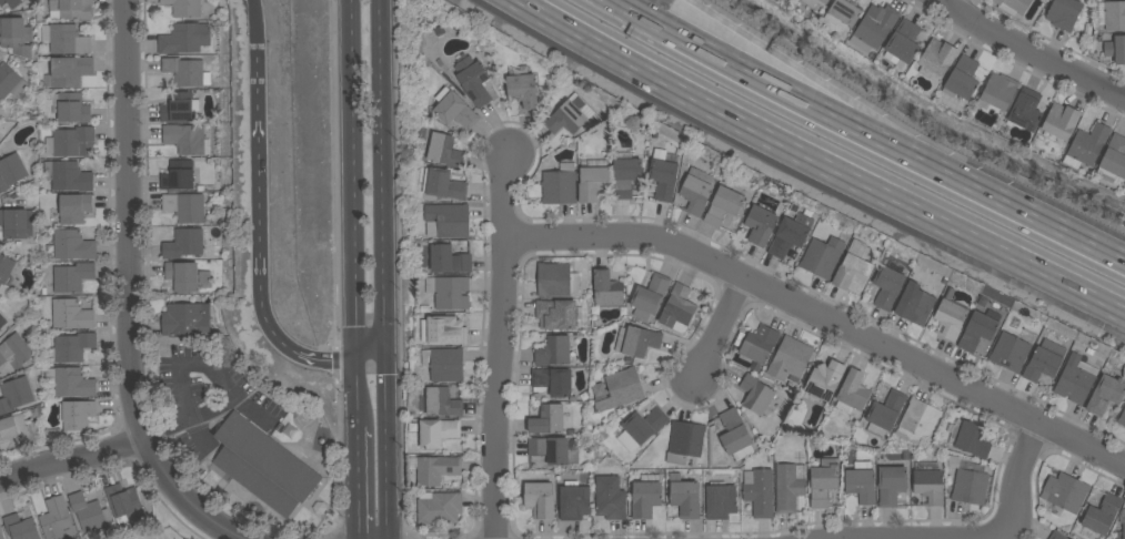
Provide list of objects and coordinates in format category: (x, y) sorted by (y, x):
road: (945, 1)
building: (813, 2)
building: (10, 3)
building: (1013, 6)
building: (184, 8)
building: (72, 9)
building: (843, 13)
building: (1064, 13)
building: (1115, 16)
road: (258, 28)
building: (874, 28)
building: (16, 37)
building: (184, 39)
building: (66, 40)
building: (903, 43)
building: (1116, 49)
road: (1033, 50)
building: (936, 59)
building: (70, 71)
building: (184, 71)
building: (962, 79)
building: (473, 81)
building: (11, 82)
building: (523, 89)
building: (997, 92)
road: (847, 96)
building: (71, 108)
building: (179, 108)
road: (798, 108)
building: (1025, 110)
building: (454, 111)
building: (569, 115)
building: (1058, 123)
building: (187, 140)
building: (71, 142)
building: (1086, 146)
building: (443, 151)
building: (1113, 159)
road: (817, 160)
road: (259, 169)
building: (11, 171)
road: (337, 173)
building: (178, 175)
building: (663, 175)
building: (68, 176)
building: (625, 176)
road: (383, 177)
road: (350, 180)
building: (593, 180)
building: (442, 184)
building: (560, 185)
building: (695, 191)
building: (724, 204)
building: (184, 207)
building: (74, 209)
road: (570, 218)
road: (130, 220)
building: (446, 221)
building: (16, 223)
building: (760, 225)
road: (1059, 227)
building: (790, 235)
building: (183, 244)
building: (72, 245)
building: (822, 257)
building: (448, 260)
building: (853, 266)
building: (6, 268)
building: (182, 276)
building: (72, 277)
building: (204, 278)
building: (556, 279)
road: (398, 283)
building: (887, 285)
building: (607, 289)
building: (448, 292)
building: (649, 296)
building: (915, 304)
building: (677, 309)
road: (773, 313)
building: (558, 314)
building: (70, 315)
road: (269, 317)
road: (823, 317)
building: (185, 319)
building: (950, 319)
building: (2, 322)
building: (978, 328)
building: (442, 332)
road: (722, 333)
building: (636, 342)
road: (502, 346)
building: (757, 346)
building: (71, 347)
building: (14, 349)
building: (553, 352)
building: (1010, 353)
road: (371, 357)
road: (322, 359)
road: (338, 360)
building: (791, 360)
building: (1043, 362)
building: (444, 364)
building: (1075, 379)
building: (552, 380)
building: (824, 380)
building: (70, 383)
building: (620, 390)
building: (852, 393)
building: (14, 395)
building: (756, 395)
building: (1105, 395)
building: (440, 403)
road: (154, 406)
road: (355, 407)
road: (208, 414)
building: (884, 414)
building: (77, 415)
building: (1122, 418)
building: (551, 419)
building: (917, 421)
building: (641, 428)
building: (17, 433)
building: (436, 433)
building: (735, 436)
road: (141, 439)
building: (971, 439)
building: (684, 443)
road: (389, 447)
building: (550, 449)
road: (1046, 456)
building: (263, 466)
road: (114, 468)
building: (436, 470)
road: (1021, 481)
building: (861, 482)
building: (927, 482)
building: (823, 484)
building: (891, 485)
building: (970, 485)
building: (788, 487)
building: (759, 492)
building: (1065, 492)
road: (356, 496)
building: (684, 497)
building: (610, 498)
building: (645, 498)
building: (540, 500)
building: (573, 501)
building: (720, 501)
building: (123, 502)
building: (439, 508)
building: (89, 512)
building: (1102, 516)
building: (54, 518)
building: (20, 527)
building: (1123, 530)
building: (1, 533)
building: (1056, 536)
building: (1116, 538)

